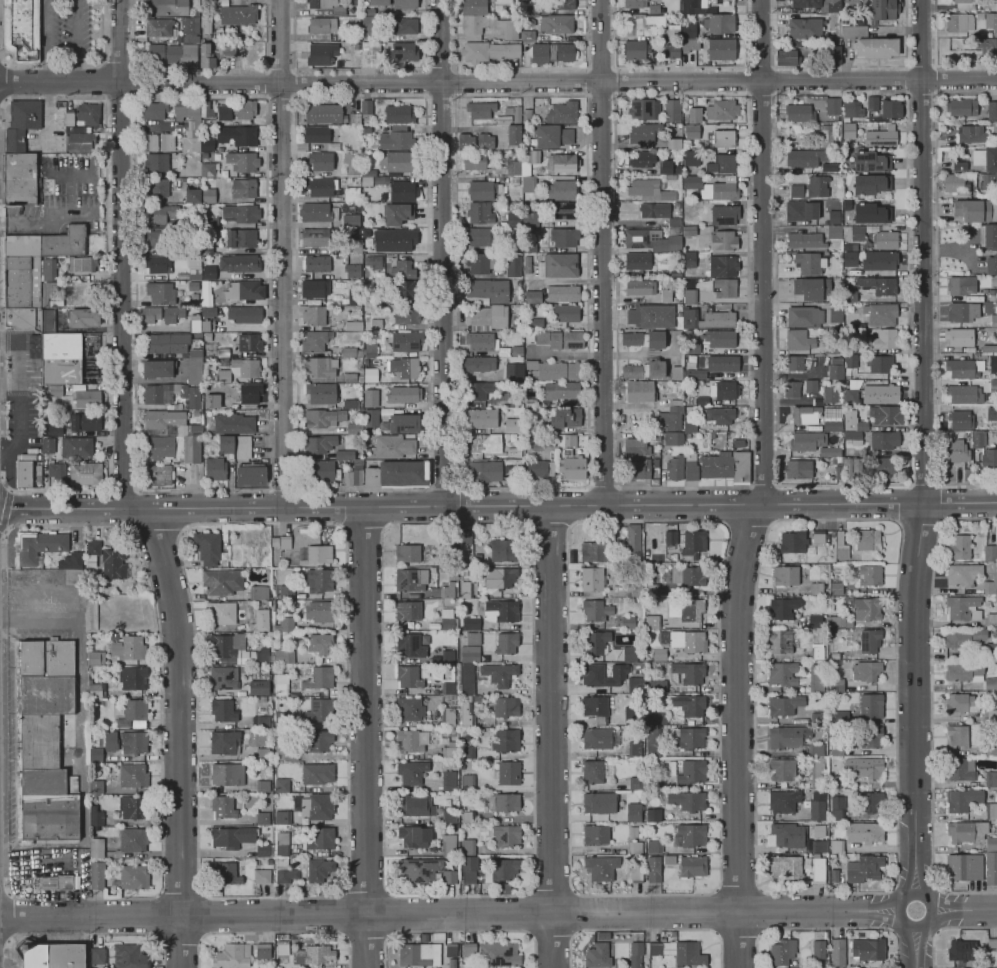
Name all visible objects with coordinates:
building: (525, 1)
building: (208, 2)
building: (221, 2)
building: (354, 2)
building: (379, 2)
building: (635, 3)
building: (805, 3)
building: (405, 4)
building: (966, 4)
building: (562, 5)
building: (689, 5)
building: (328, 6)
building: (168, 7)
building: (474, 7)
building: (835, 7)
building: (994, 7)
building: (530, 9)
building: (654, 9)
building: (352, 10)
building: (884, 10)
building: (368, 11)
building: (543, 11)
building: (198, 14)
building: (238, 14)
building: (979, 15)
building: (683, 17)
building: (859, 20)
building: (844, 21)
building: (530, 22)
building: (957, 22)
building: (719, 23)
building: (206, 24)
building: (370, 24)
building: (556, 24)
building: (642, 24)
building: (190, 25)
building: (159, 27)
building: (402, 27)
building: (322, 28)
building: (472, 28)
building: (805, 28)
building: (21, 30)
building: (689, 30)
building: (175, 31)
building: (674, 33)
building: (219, 35)
building: (528, 35)
building: (188, 39)
road: (44, 40)
road: (74, 40)
building: (799, 43)
building: (868, 43)
building: (987, 45)
building: (636, 49)
building: (721, 49)
building: (403, 52)
building: (489, 52)
building: (671, 52)
building: (321, 53)
building: (552, 53)
building: (175, 54)
building: (215, 54)
building: (370, 54)
building: (834, 54)
building: (787, 57)
road: (934, 63)
road: (920, 64)
road: (77, 65)
road: (839, 65)
road: (680, 66)
road: (760, 66)
road: (519, 67)
road: (600, 67)
road: (440, 68)
road: (280, 69)
road: (359, 69)
road: (197, 70)
road: (906, 79)
road: (936, 79)
road: (101, 80)
road: (746, 80)
road: (775, 80)
road: (586, 81)
road: (615, 81)
road: (426, 82)
road: (455, 82)
road: (498, 82)
road: (266, 84)
road: (294, 84)
road: (135, 85)
road: (906, 94)
road: (921, 94)
road: (760, 95)
road: (455, 96)
road: (440, 97)
road: (600, 97)
road: (120, 99)
road: (280, 100)
building: (873, 103)
building: (833, 105)
building: (962, 107)
building: (366, 108)
building: (891, 108)
building: (205, 109)
building: (245, 109)
building: (481, 109)
building: (644, 109)
building: (672, 110)
building: (722, 110)
building: (852, 110)
building: (153, 111)
building: (992, 111)
building: (223, 112)
building: (563, 112)
building: (800, 112)
building: (88, 114)
building: (324, 114)
building: (400, 114)
building: (695, 115)
building: (510, 116)
building: (527, 117)
building: (69, 119)
building: (355, 119)
building: (22, 124)
building: (189, 126)
building: (366, 129)
road: (471, 129)
building: (830, 130)
building: (849, 130)
building: (692, 132)
building: (646, 133)
building: (971, 133)
building: (317, 134)
building: (237, 135)
building: (514, 135)
building: (551, 136)
building: (882, 137)
building: (724, 138)
building: (396, 139)
building: (996, 139)
building: (466, 141)
building: (485, 141)
building: (81, 142)
building: (150, 142)
building: (167, 142)
building: (674, 144)
building: (207, 145)
building: (517, 152)
building: (204, 154)
building: (501, 155)
building: (530, 156)
building: (807, 157)
building: (691, 158)
building: (986, 158)
building: (642, 159)
building: (478, 160)
building: (243, 161)
building: (321, 161)
building: (871, 161)
building: (157, 162)
building: (400, 162)
building: (351, 163)
building: (562, 163)
building: (722, 163)
building: (670, 166)
building: (960, 166)
building: (510, 167)
building: (829, 167)
building: (208, 169)
building: (369, 172)
building: (18, 179)
building: (184, 179)
building: (381, 180)
building: (367, 181)
building: (515, 181)
building: (692, 181)
building: (988, 181)
building: (955, 183)
building: (528, 184)
building: (872, 184)
building: (817, 186)
building: (322, 187)
building: (157, 188)
building: (243, 188)
building: (650, 188)
building: (483, 190)
building: (562, 190)
building: (403, 191)
building: (724, 191)
building: (796, 191)
building: (352, 193)
building: (192, 195)
building: (208, 196)
building: (380, 197)
building: (847, 205)
building: (655, 209)
building: (563, 210)
building: (801, 210)
building: (973, 210)
building: (318, 212)
building: (241, 213)
building: (480, 213)
building: (871, 213)
building: (396, 214)
building: (725, 214)
building: (165, 215)
building: (514, 219)
building: (530, 219)
building: (350, 221)
building: (675, 221)
building: (213, 223)
building: (689, 231)
building: (835, 232)
building: (853, 233)
building: (564, 236)
building: (991, 236)
building: (314, 237)
building: (481, 237)
building: (241, 238)
building: (642, 238)
building: (156, 239)
building: (394, 240)
building: (805, 240)
building: (886, 240)
building: (724, 241)
building: (355, 242)
building: (674, 243)
building: (48, 244)
building: (207, 247)
building: (513, 247)
building: (847, 247)
building: (530, 248)
road: (602, 251)
road: (923, 251)
road: (442, 252)
road: (281, 253)
building: (848, 258)
building: (880, 260)
building: (638, 261)
building: (374, 262)
building: (480, 262)
building: (239, 263)
building: (810, 263)
building: (81, 264)
building: (157, 264)
building: (316, 264)
building: (991, 264)
building: (527, 265)
building: (558, 265)
building: (692, 265)
building: (513, 266)
building: (723, 266)
building: (48, 270)
building: (195, 270)
building: (353, 270)
building: (403, 270)
building: (209, 272)
building: (676, 272)
building: (68, 277)
building: (994, 278)
building: (22, 282)
building: (194, 285)
building: (961, 285)
road: (937, 286)
building: (640, 287)
building: (725, 287)
building: (314, 288)
building: (400, 288)
building: (813, 288)
building: (245, 290)
building: (884, 290)
building: (487, 291)
building: (985, 291)
building: (161, 293)
building: (206, 293)
building: (563, 293)
building: (353, 295)
building: (666, 295)
building: (690, 295)
building: (992, 295)
building: (368, 297)
building: (532, 297)
building: (195, 298)
building: (676, 299)
building: (516, 308)
building: (364, 309)
building: (836, 312)
building: (963, 312)
building: (567, 313)
building: (881, 313)
building: (173, 314)
building: (245, 314)
building: (150, 315)
building: (314, 315)
building: (652, 316)
building: (804, 316)
building: (391, 317)
building: (486, 317)
building: (23, 318)
building: (83, 318)
building: (208, 318)
building: (707, 319)
building: (994, 320)
building: (48, 321)
building: (195, 323)
building: (353, 326)
building: (832, 330)
building: (687, 331)
building: (207, 336)
building: (676, 337)
building: (959, 337)
building: (720, 338)
building: (882, 338)
building: (549, 339)
building: (645, 339)
building: (573, 340)
building: (799, 340)
building: (314, 341)
building: (406, 341)
building: (481, 341)
building: (198, 342)
building: (249, 342)
building: (168, 343)
building: (836, 345)
building: (35, 346)
building: (693, 348)
building: (989, 348)
building: (370, 350)
building: (517, 350)
building: (504, 351)
building: (223, 352)
building: (351, 352)
building: (195, 353)
building: (63, 360)
building: (850, 360)
building: (992, 362)
building: (723, 363)
building: (795, 363)
building: (879, 363)
building: (478, 364)
building: (89, 366)
building: (247, 367)
building: (320, 367)
building: (158, 368)
building: (405, 368)
building: (835, 368)
building: (964, 368)
building: (546, 369)
building: (575, 370)
building: (645, 370)
building: (195, 371)
building: (514, 372)
building: (676, 373)
building: (695, 374)
road: (792, 375)
building: (224, 376)
building: (351, 378)
building: (847, 378)
building: (845, 383)
building: (237, 384)
building: (993, 385)
building: (811, 386)
road: (8, 387)
building: (540, 387)
building: (517, 389)
building: (792, 389)
building: (478, 390)
building: (561, 390)
building: (727, 390)
building: (56, 391)
building: (640, 391)
building: (852, 392)
building: (155, 393)
building: (249, 393)
building: (321, 393)
building: (404, 394)
building: (830, 394)
building: (881, 394)
building: (965, 394)
road: (17, 395)
building: (87, 398)
building: (194, 398)
building: (371, 398)
building: (510, 400)
building: (212, 401)
building: (703, 401)
building: (530, 402)
building: (570, 402)
building: (351, 404)
building: (806, 414)
building: (886, 414)
building: (720, 415)
building: (671, 416)
building: (323, 417)
building: (371, 418)
building: (481, 418)
building: (566, 418)
building: (163, 420)
building: (961, 420)
building: (46, 421)
building: (854, 421)
building: (85, 422)
building: (233, 423)
building: (404, 423)
building: (690, 425)
building: (832, 425)
building: (512, 426)
building: (531, 428)
building: (355, 429)
road: (109, 430)
building: (183, 430)
building: (641, 430)
building: (688, 435)
building: (996, 435)
building: (653, 436)
building: (854, 437)
building: (673, 438)
building: (979, 439)
building: (570, 440)
building: (885, 440)
building: (369, 441)
building: (807, 441)
building: (549, 442)
building: (226, 443)
building: (484, 443)
building: (320, 444)
building: (394, 446)
building: (158, 447)
building: (243, 447)
building: (636, 447)
building: (77, 448)
building: (189, 448)
building: (830, 451)
building: (956, 451)
building: (514, 452)
building: (344, 455)
building: (989, 460)
building: (656, 463)
building: (726, 466)
building: (675, 467)
building: (691, 467)
building: (884, 467)
building: (215, 468)
building: (541, 468)
building: (572, 468)
building: (798, 468)
building: (848, 468)
building: (508, 469)
building: (55, 470)
building: (638, 470)
building: (321, 471)
building: (485, 471)
building: (86, 472)
building: (354, 473)
building: (158, 474)
building: (251, 474)
building: (398, 474)
building: (968, 474)
building: (23, 475)
road: (925, 483)
road: (764, 485)
road: (429, 486)
road: (602, 486)
road: (749, 486)
road: (762, 486)
road: (283, 487)
road: (443, 487)
road: (267, 489)
road: (121, 490)
road: (124, 490)
road: (891, 501)
road: (588, 503)
road: (941, 503)
road: (394, 504)
road: (498, 504)
road: (621, 504)
road: (778, 504)
road: (331, 505)
road: (920, 527)
road: (363, 529)
road: (549, 529)
road: (157, 530)
road: (747, 533)
building: (833, 534)
building: (818, 536)
building: (668, 537)
building: (726, 539)
building: (867, 540)
building: (285, 542)
building: (793, 542)
building: (633, 543)
building: (693, 543)
building: (39, 545)
building: (466, 545)
building: (208, 547)
building: (842, 547)
building: (959, 547)
building: (501, 550)
building: (594, 551)
building: (92, 553)
building: (408, 553)
building: (990, 553)
building: (319, 554)
building: (655, 556)
building: (613, 559)
building: (72, 561)
building: (114, 563)
building: (651, 568)
building: (963, 574)
building: (786, 575)
building: (870, 575)
building: (501, 576)
building: (666, 576)
building: (689, 576)
building: (74, 577)
building: (593, 578)
building: (411, 579)
building: (650, 579)
building: (319, 580)
building: (432, 580)
building: (222, 581)
building: (991, 582)
building: (836, 586)
building: (816, 588)
building: (466, 589)
building: (448, 590)
building: (634, 590)
building: (652, 590)
building: (259, 592)
building: (286, 592)
building: (291, 603)
building: (784, 607)
building: (962, 608)
building: (596, 609)
building: (868, 609)
building: (687, 610)
building: (319, 611)
building: (408, 611)
building: (501, 611)
building: (221, 613)
building: (274, 617)
building: (448, 619)
building: (990, 619)
building: (262, 620)
building: (816, 621)
building: (628, 622)
building: (654, 622)
building: (838, 622)
building: (471, 623)
building: (285, 624)
building: (995, 632)
building: (115, 637)
building: (280, 637)
building: (473, 638)
building: (964, 638)
building: (870, 640)
building: (689, 641)
building: (780, 641)
building: (597, 642)
building: (320, 643)
building: (507, 643)
building: (410, 645)
building: (128, 648)
building: (237, 649)
building: (817, 650)
building: (991, 650)
building: (632, 653)
building: (470, 654)
building: (659, 654)
building: (834, 655)
building: (283, 656)
building: (448, 656)
building: (95, 660)
road: (161, 664)
building: (832, 671)
building: (866, 671)
building: (963, 671)
building: (690, 672)
building: (500, 674)
building: (780, 674)
building: (602, 675)
building: (224, 677)
building: (408, 677)
building: (133, 678)
building: (319, 678)
building: (467, 678)
building: (281, 684)
building: (991, 684)
building: (636, 685)
building: (836, 685)
building: (448, 688)
building: (662, 688)
building: (96, 689)
building: (262, 689)
road: (913, 698)
building: (263, 699)
building: (93, 702)
building: (961, 703)
building: (682, 704)
building: (784, 705)
building: (871, 705)
building: (506, 707)
building: (411, 708)
building: (596, 708)
road: (931, 708)
building: (468, 709)
building: (223, 710)
building: (319, 710)
building: (133, 712)
building: (448, 716)
building: (840, 716)
building: (990, 716)
building: (657, 718)
building: (819, 718)
building: (261, 722)
building: (281, 722)
road: (551, 736)
building: (788, 736)
building: (958, 736)
road: (364, 737)
building: (690, 737)
building: (872, 737)
building: (599, 738)
building: (111, 740)
building: (319, 740)
building: (411, 740)
building: (506, 740)
building: (45, 741)
building: (134, 742)
building: (238, 743)
building: (655, 743)
building: (835, 748)
building: (449, 749)
building: (635, 749)
building: (815, 749)
building: (990, 749)
building: (281, 752)
building: (469, 752)
building: (96, 755)
building: (486, 762)
building: (960, 768)
building: (782, 769)
building: (858, 770)
building: (412, 772)
building: (593, 772)
building: (692, 772)
building: (317, 773)
building: (509, 773)
building: (817, 773)
building: (227, 774)
building: (133, 776)
building: (424, 777)
building: (991, 779)
building: (449, 781)
building: (468, 782)
building: (651, 782)
building: (635, 783)
building: (263, 786)
building: (282, 786)
building: (96, 787)
road: (897, 799)
building: (962, 799)
building: (687, 800)
building: (783, 801)
building: (507, 802)
building: (600, 802)
building: (871, 802)
building: (415, 805)
building: (223, 806)
building: (315, 806)
building: (135, 807)
building: (838, 807)
building: (817, 810)
building: (991, 811)
building: (634, 812)
building: (448, 815)
building: (653, 815)
building: (283, 817)
building: (468, 817)
building: (263, 818)
building: (97, 819)
building: (833, 824)
building: (633, 831)
building: (966, 831)
building: (864, 832)
building: (596, 834)
building: (788, 834)
building: (507, 835)
building: (691, 835)
building: (414, 836)
building: (232, 837)
building: (321, 839)
building: (134, 840)
building: (282, 842)
building: (449, 844)
building: (991, 844)
building: (97, 845)
building: (655, 846)
building: (820, 846)
building: (837, 846)
building: (468, 847)
building: (635, 848)
building: (981, 848)
building: (265, 850)
building: (612, 851)
building: (670, 859)
building: (693, 866)
building: (787, 866)
building: (966, 866)
building: (601, 867)
building: (863, 868)
building: (991, 868)
road: (348, 869)
building: (420, 869)
building: (469, 869)
building: (654, 869)
building: (819, 869)
building: (284, 870)
building: (319, 870)
building: (502, 870)
building: (226, 873)
building: (97, 875)
building: (636, 875)
road: (719, 875)
building: (835, 875)
building: (262, 876)
building: (134, 877)
building: (450, 877)
road: (534, 881)
building: (53, 882)
road: (737, 884)
road: (914, 885)
road: (551, 886)
building: (639, 887)
road: (179, 888)
road: (365, 888)
building: (507, 890)
road: (964, 909)
road: (893, 910)
road: (938, 910)
road: (763, 911)
road: (715, 912)
road: (450, 913)
road: (529, 913)
road: (575, 913)
road: (344, 914)
road: (397, 914)
road: (204, 915)
road: (158, 916)
road: (915, 925)
road: (948, 927)
road: (827, 928)
road: (646, 930)
road: (460, 931)
road: (274, 932)
road: (738, 933)
road: (915, 933)
road: (137, 934)
road: (553, 935)
road: (181, 938)
road: (366, 938)
building: (992, 944)
road: (916, 947)
building: (283, 948)
building: (451, 949)
building: (819, 949)
building: (469, 950)
building: (857, 950)
building: (782, 951)
building: (679, 952)
building: (962, 952)
building: (264, 953)
building: (416, 954)
building: (499, 954)
building: (636, 954)
building: (51, 955)
building: (314, 955)
building: (97, 956)
building: (129, 956)
building: (232, 956)
building: (598, 956)
building: (281, 959)
building: (648, 962)
building: (452, 963)
building: (95, 966)

